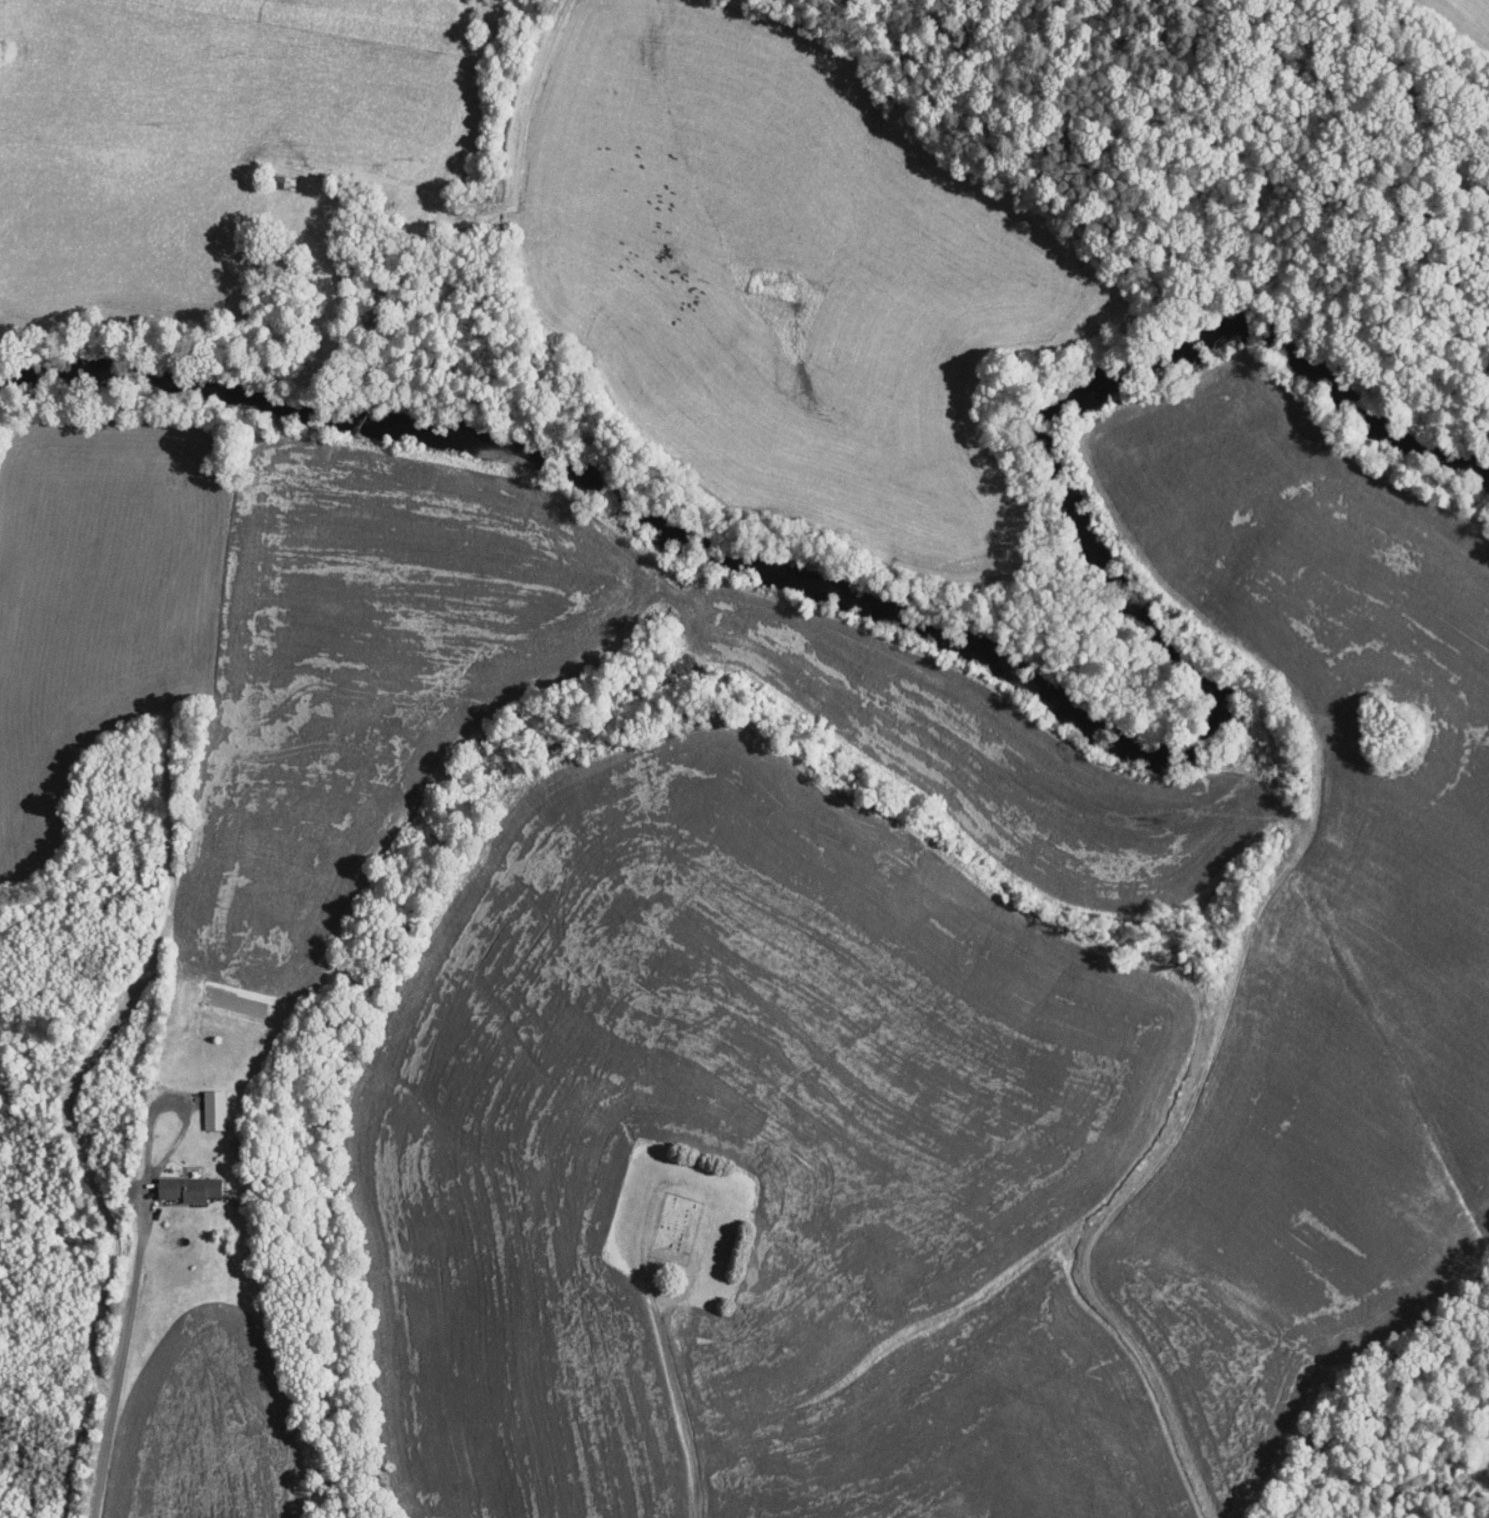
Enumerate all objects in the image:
road: (355, 164)
river: (1015, 664)
road: (174, 1102)
building: (206, 1103)
building: (183, 1182)
road: (121, 1353)
road: (686, 1412)

